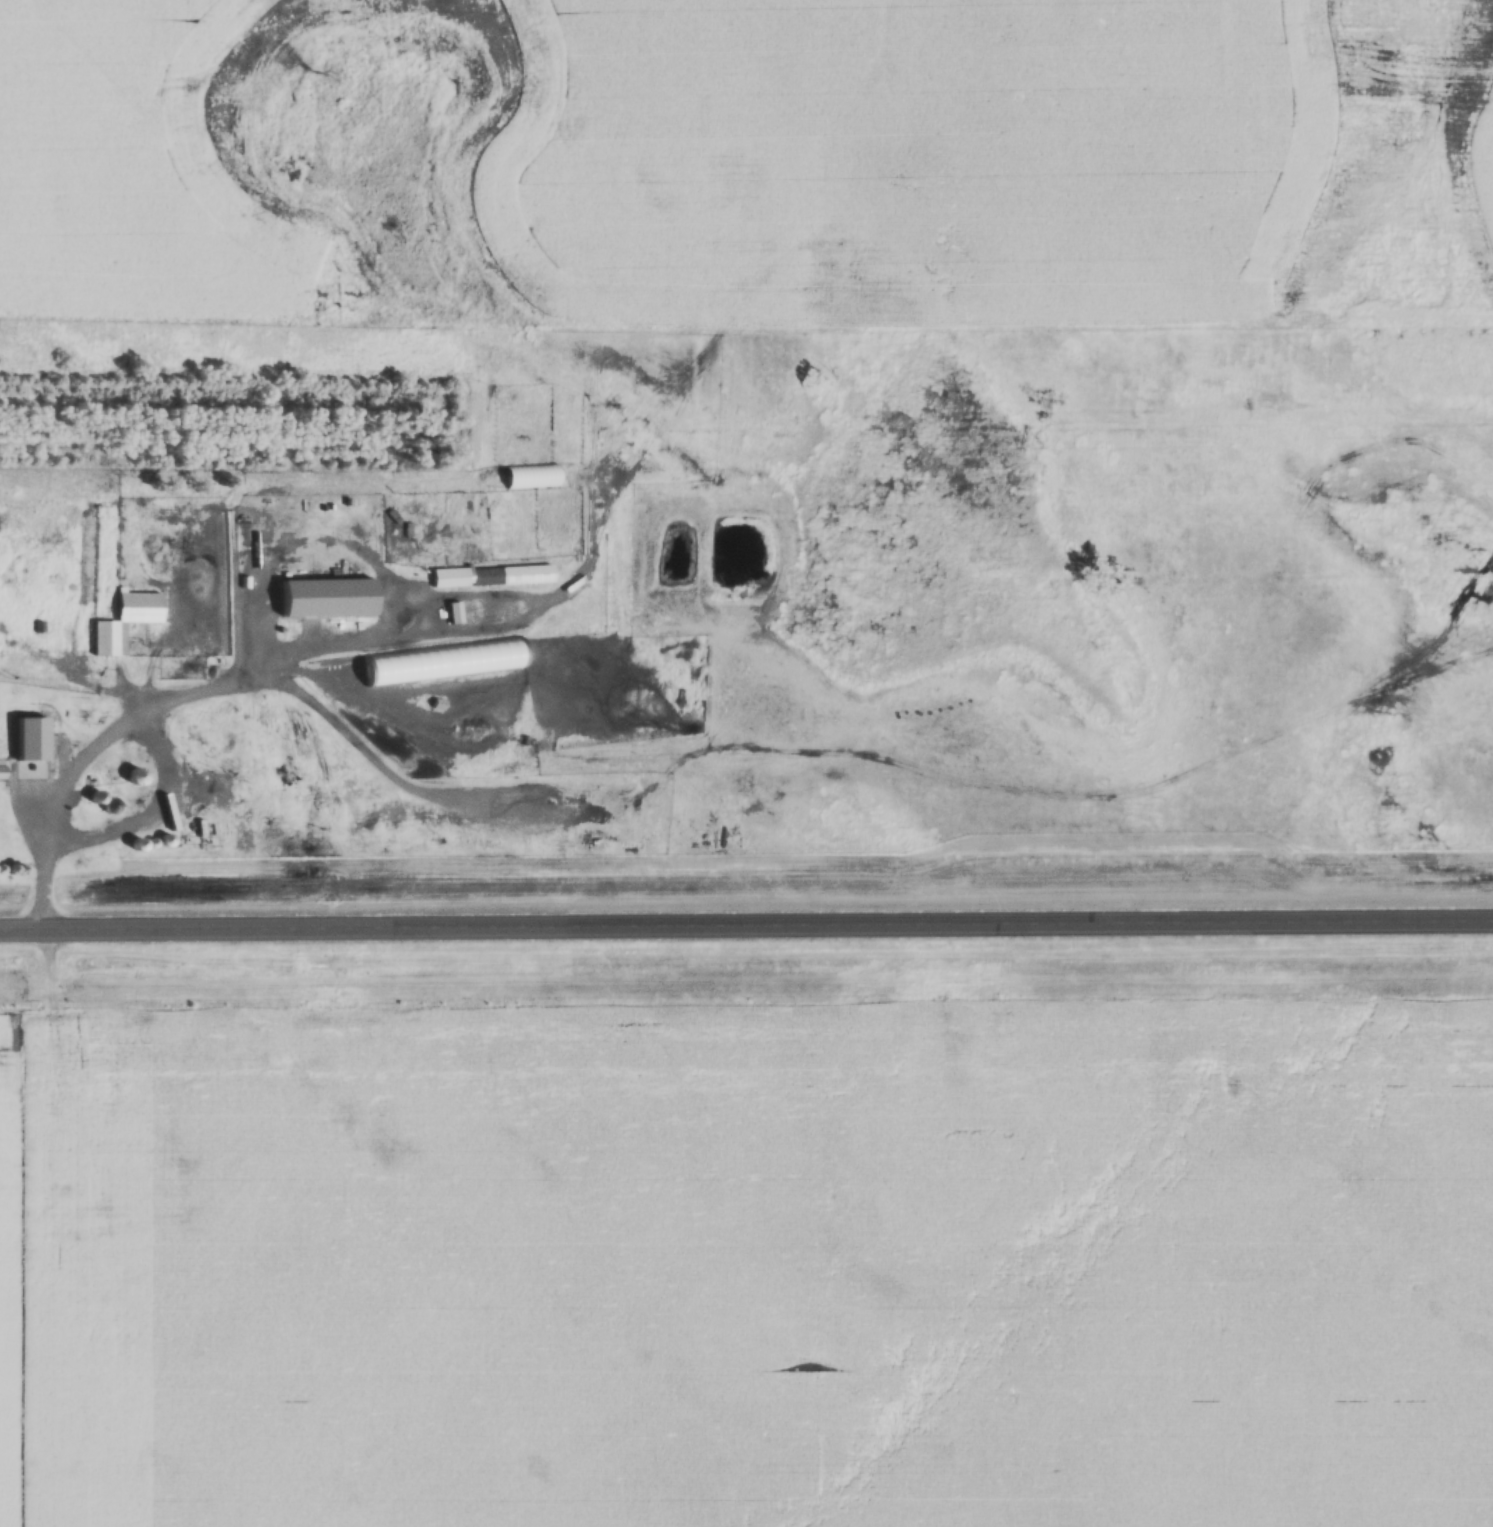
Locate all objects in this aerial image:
building: (532, 475)
building: (404, 529)
building: (492, 575)
building: (324, 597)
building: (125, 621)
building: (31, 737)
building: (0, 768)
building: (136, 776)
road: (746, 909)

